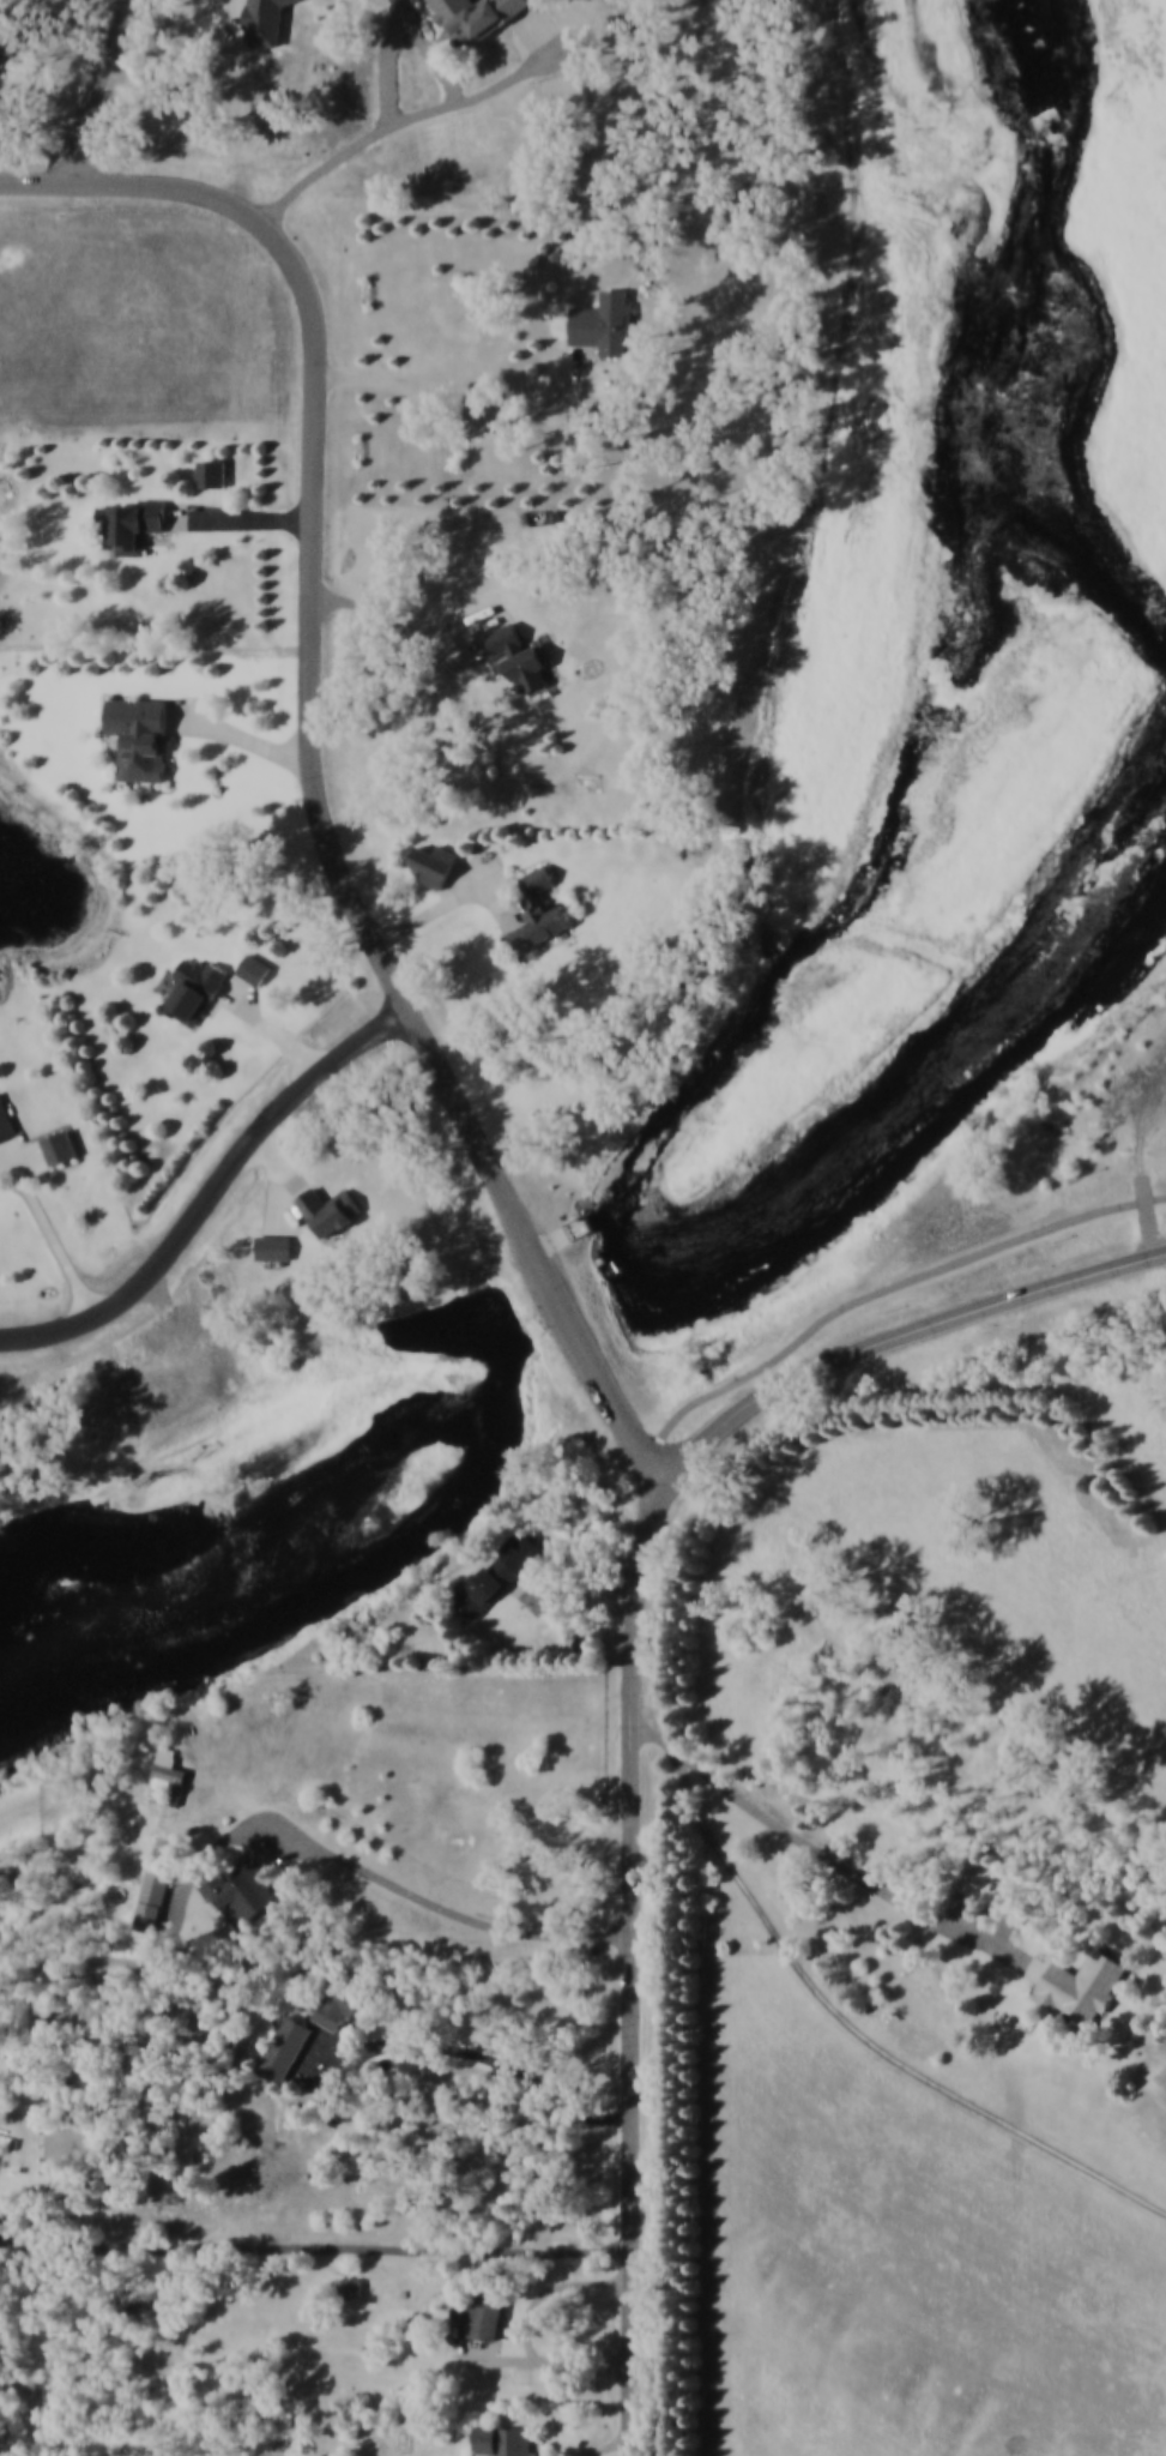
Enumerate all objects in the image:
road: (191, 7)
building: (479, 19)
building: (268, 22)
road: (70, 25)
road: (406, 34)
building: (6, 50)
road: (93, 88)
road: (419, 113)
road: (137, 185)
building: (646, 260)
building: (610, 319)
river: (1025, 342)
road: (476, 398)
building: (216, 470)
park: (937, 499)
road: (215, 500)
road: (241, 518)
building: (135, 520)
road: (401, 630)
building: (524, 656)
road: (242, 733)
building: (143, 734)
building: (441, 861)
building: (542, 878)
road: (469, 879)
road: (349, 886)
road: (457, 901)
building: (540, 923)
building: (258, 968)
building: (198, 988)
road: (246, 991)
road: (272, 1028)
river: (929, 1090)
building: (6, 1119)
building: (61, 1145)
road: (31, 1157)
road: (286, 1163)
road: (217, 1196)
road: (1147, 1199)
road: (283, 1200)
building: (332, 1210)
road: (49, 1227)
building: (277, 1247)
road: (884, 1292)
river: (572, 1313)
road: (896, 1342)
river: (103, 1551)
building: (491, 1587)
road: (572, 1591)
river: (331, 1601)
building: (173, 1766)
road: (802, 1837)
road: (383, 1876)
building: (244, 1892)
building: (156, 1898)
road: (195, 1898)
road: (633, 1970)
building: (1082, 1986)
building: (345, 2005)
road: (848, 2017)
building: (288, 2049)
road: (472, 2053)
road: (702, 2141)
building: (206, 2160)
road: (315, 2249)
building: (358, 2288)
road: (549, 2292)
building: (483, 2314)
road: (527, 2362)
building: (508, 2442)
road: (608, 2449)

